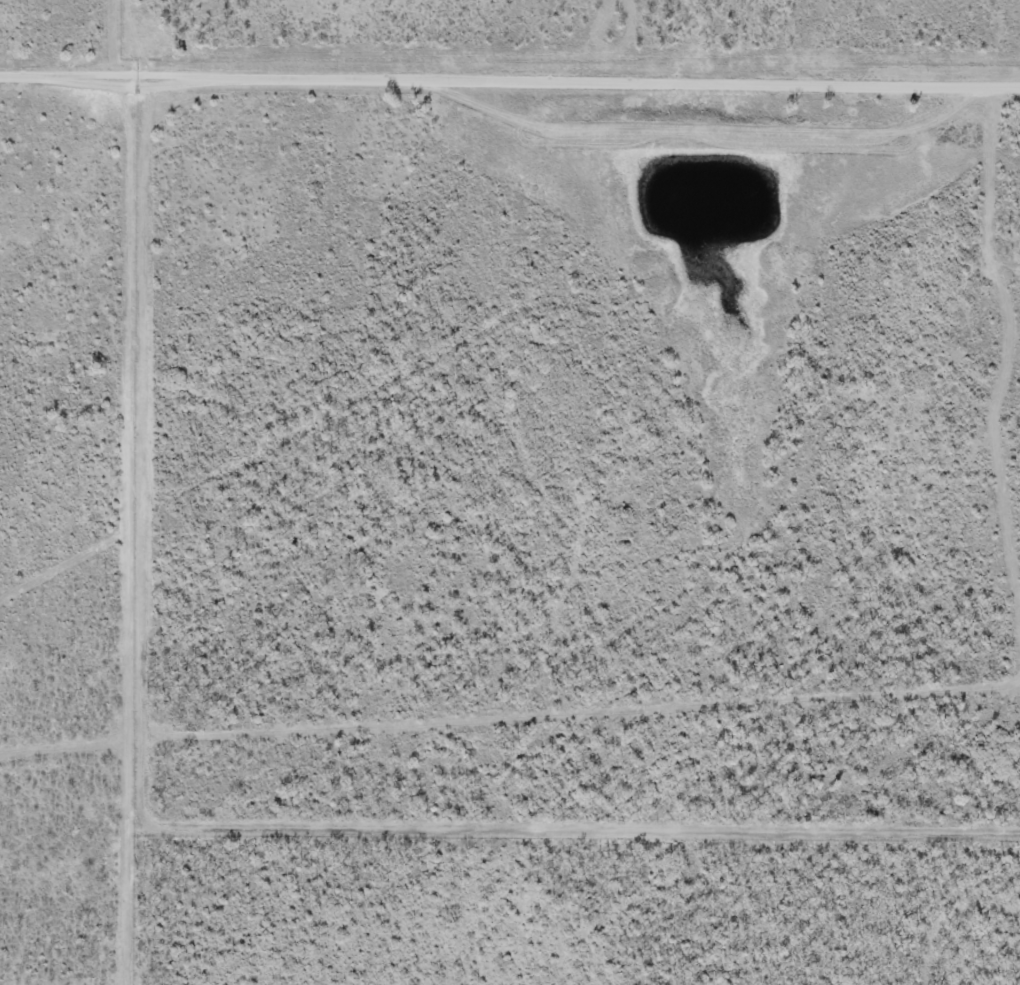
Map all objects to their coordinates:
road: (509, 83)

